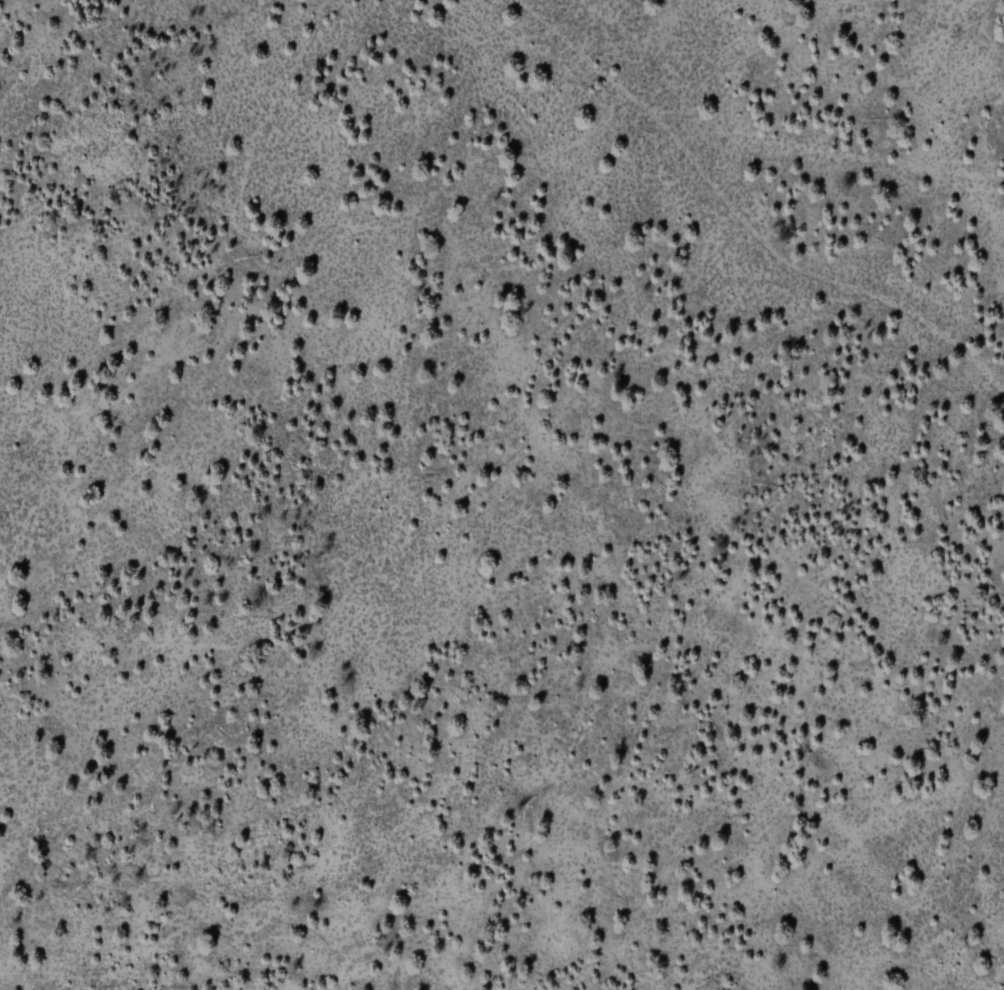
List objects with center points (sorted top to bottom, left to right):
road: (249, 186)
road: (744, 219)
road: (270, 294)

